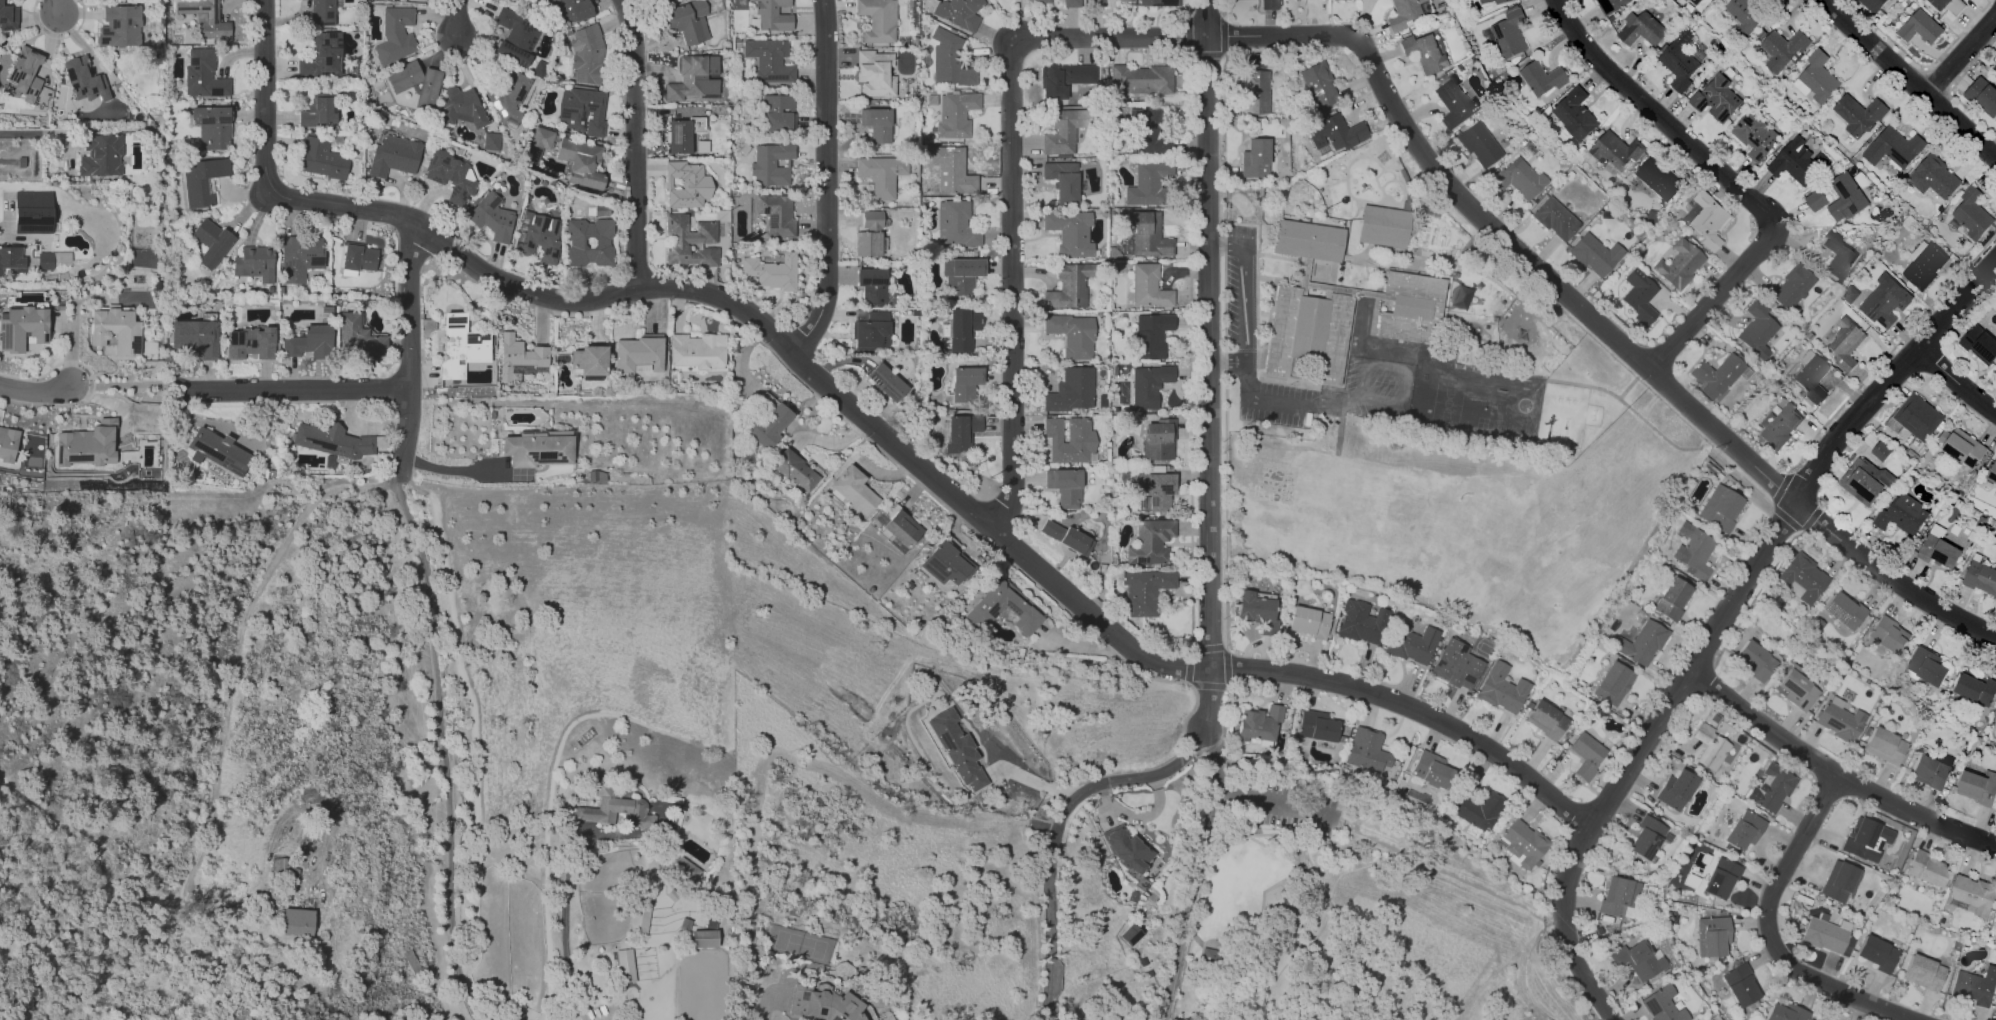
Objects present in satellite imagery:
building: (414, 0)
building: (654, 1)
building: (1043, 1)
building: (1124, 1)
building: (1497, 1)
building: (1158, 2)
building: (1706, 2)
building: (1071, 3)
building: (1095, 3)
building: (1268, 4)
building: (1874, 4)
building: (1940, 4)
building: (1613, 5)
road: (61, 7)
building: (1956, 7)
building: (576, 9)
building: (959, 12)
building: (322, 13)
building: (1406, 14)
building: (772, 15)
building: (1746, 15)
building: (8, 17)
building: (211, 18)
road: (455, 18)
building: (877, 20)
building: (686, 21)
building: (120, 26)
building: (1642, 28)
building: (1921, 28)
building: (395, 34)
building: (1510, 34)
building: (514, 36)
building: (1785, 50)
building: (1425, 53)
road: (1961, 54)
building: (321, 55)
building: (587, 55)
building: (1995, 59)
building: (769, 60)
building: (949, 60)
building: (1680, 62)
building: (539, 68)
building: (25, 72)
building: (875, 73)
building: (203, 74)
road: (1910, 77)
building: (1544, 78)
building: (1820, 78)
building: (84, 79)
building: (688, 79)
building: (1067, 79)
building: (1143, 79)
building: (416, 83)
building: (1318, 84)
building: (1255, 90)
building: (506, 92)
building: (1983, 96)
building: (1718, 99)
building: (1454, 102)
building: (460, 107)
building: (319, 110)
building: (582, 111)
building: (777, 112)
building: (955, 115)
building: (1577, 115)
building: (1860, 115)
road: (1660, 117)
building: (878, 124)
building: (213, 126)
building: (1336, 131)
building: (1062, 132)
building: (1150, 132)
road: (39, 133)
building: (683, 133)
building: (1756, 137)
building: (491, 140)
road: (634, 143)
building: (538, 144)
building: (1478, 144)
building: (700, 146)
building: (1895, 148)
building: (1617, 150)
building: (101, 154)
building: (395, 156)
building: (1255, 158)
building: (322, 159)
road: (8, 161)
building: (20, 161)
building: (1798, 161)
building: (581, 162)
building: (771, 164)
building: (950, 170)
building: (881, 174)
building: (451, 176)
building: (1934, 176)
building: (1518, 178)
building: (1660, 178)
building: (202, 179)
road: (825, 181)
building: (1063, 181)
building: (1148, 181)
building: (685, 185)
road: (1012, 189)
building: (1848, 197)
building: (1817, 199)
building: (33, 211)
building: (1973, 213)
building: (777, 215)
building: (491, 217)
building: (1555, 218)
building: (1710, 219)
building: (956, 223)
building: (1383, 226)
building: (1070, 232)
building: (1148, 233)
building: (869, 234)
building: (538, 237)
building: (691, 241)
building: (212, 242)
building: (589, 242)
building: (1595, 254)
building: (1839, 255)
building: (358, 256)
building: (302, 258)
building: (12, 259)
building: (45, 260)
building: (254, 263)
building: (1679, 264)
building: (1925, 266)
building: (773, 271)
building: (962, 274)
building: (873, 286)
building: (1069, 286)
building: (1149, 286)
building: (1792, 286)
parking lot: (1240, 290)
building: (1639, 294)
building: (1459, 296)
road: (1715, 298)
building: (1883, 300)
road: (1244, 304)
building: (1339, 305)
road: (1592, 314)
building: (22, 327)
building: (1757, 328)
building: (962, 329)
building: (116, 330)
building: (872, 331)
building: (1072, 334)
building: (1151, 334)
building: (196, 337)
building: (358, 339)
building: (1843, 341)
building: (310, 342)
building: (251, 343)
building: (1980, 343)
building: (461, 346)
building: (699, 351)
building: (639, 353)
road: (407, 355)
building: (519, 355)
building: (590, 360)
road: (1208, 364)
building: (520, 371)
building: (1717, 374)
building: (1810, 378)
building: (887, 381)
building: (965, 382)
road: (1956, 382)
road: (127, 384)
building: (1149, 385)
road: (293, 390)
building: (1071, 390)
road: (36, 393)
road: (1360, 395)
park: (1447, 403)
road: (862, 415)
building: (1919, 417)
building: (764, 419)
building: (1779, 425)
building: (962, 431)
building: (1159, 439)
building: (1069, 440)
building: (334, 441)
building: (8, 444)
building: (88, 444)
building: (538, 447)
building: (1963, 447)
building: (219, 450)
building: (1882, 451)
road: (451, 469)
building: (795, 470)
building: (1992, 473)
building: (1867, 481)
building: (1065, 486)
building: (854, 489)
building: (1157, 489)
building: (1995, 495)
building: (1720, 507)
building: (1903, 515)
building: (902, 527)
building: (1067, 537)
building: (1151, 542)
building: (1940, 551)
building: (1697, 552)
building: (947, 564)
building: (1805, 577)
building: (1981, 577)
building: (1145, 590)
building: (1673, 599)
building: (1258, 610)
building: (1844, 610)
building: (984, 611)
building: (1309, 621)
building: (1360, 621)
road: (1721, 623)
building: (1889, 634)
building: (1643, 642)
building: (1410, 643)
building: (1755, 660)
building: (1456, 664)
building: (1928, 665)
building: (1612, 683)
building: (1797, 688)
building: (1978, 688)
building: (1502, 689)
building: (1547, 719)
building: (1841, 721)
building: (1259, 723)
building: (1317, 725)
building: (1884, 745)
building: (1710, 746)
building: (957, 747)
building: (1367, 749)
road: (445, 754)
building: (1587, 755)
building: (1432, 770)
building: (1931, 770)
road: (1835, 774)
road: (1037, 778)
road: (1117, 780)
building: (1979, 786)
building: (1676, 788)
building: (1772, 788)
road: (1247, 795)
parking lot: (1295, 807)
building: (612, 809)
road: (1104, 809)
building: (1479, 810)
road: (1137, 814)
building: (1744, 830)
building: (1647, 837)
building: (1860, 838)
building: (1524, 843)
building: (1128, 848)
road: (1374, 856)
building: (1926, 868)
building: (685, 870)
road: (1292, 873)
building: (1721, 878)
building: (1838, 881)
building: (1975, 894)
building: (1134, 896)
building: (1617, 896)
road: (1188, 904)
park: (1344, 912)
building: (639, 915)
building: (297, 920)
road: (564, 922)
road: (1768, 930)
building: (1130, 933)
road: (1050, 935)
building: (1712, 935)
building: (1824, 935)
building: (703, 936)
park: (800, 942)
building: (1877, 953)
road: (1262, 957)
building: (411, 958)
building: (1637, 959)
building: (624, 964)
road: (1285, 967)
building: (1924, 972)
building: (1740, 984)
building: (1974, 987)
road: (764, 1000)
building: (824, 1004)
building: (1662, 1004)
building: (1786, 1012)

